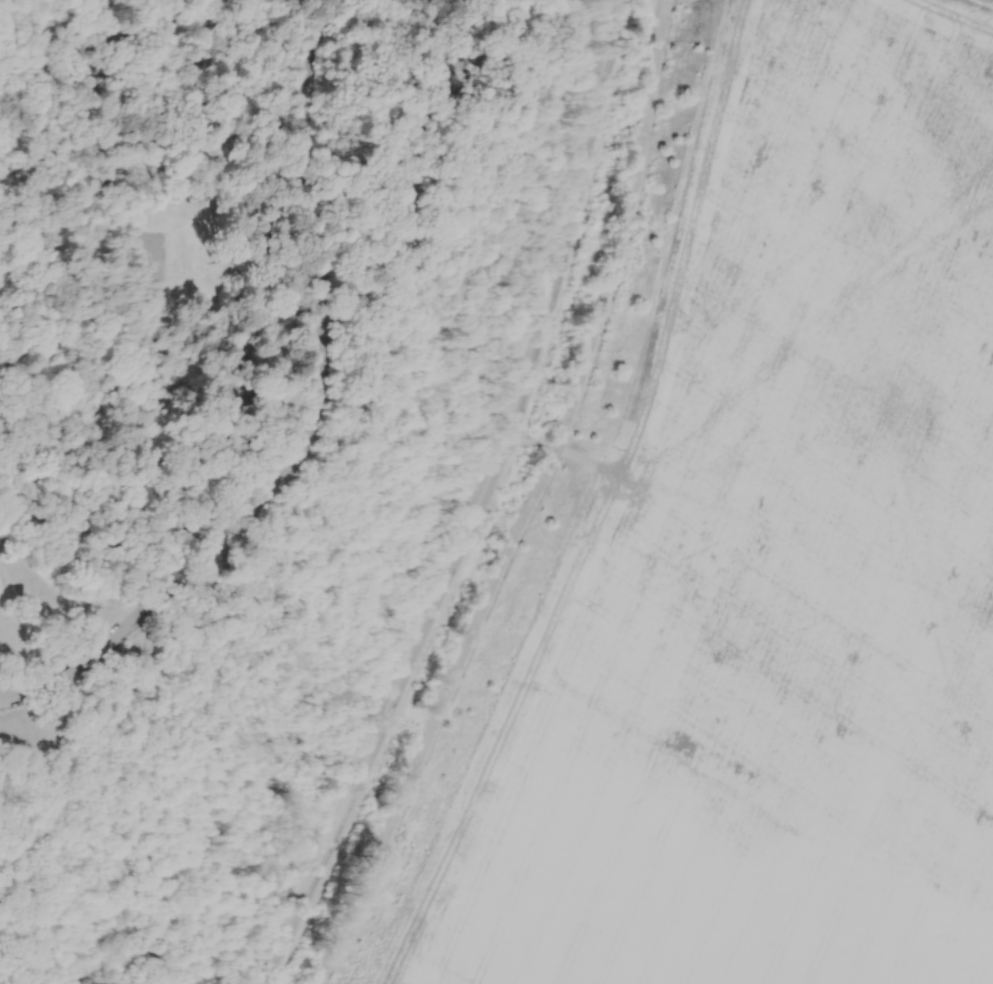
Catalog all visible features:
road: (75, 83)
road: (384, 141)
road: (156, 147)
road: (252, 173)
road: (623, 227)
park: (264, 230)
parking lot: (154, 264)
road: (230, 331)
road: (109, 404)
road: (301, 415)
park: (240, 423)
road: (154, 432)
road: (558, 449)
road: (482, 504)
road: (148, 513)
road: (163, 660)
parking lot: (10, 697)
road: (58, 715)
road: (437, 716)
road: (14, 764)
road: (19, 873)

